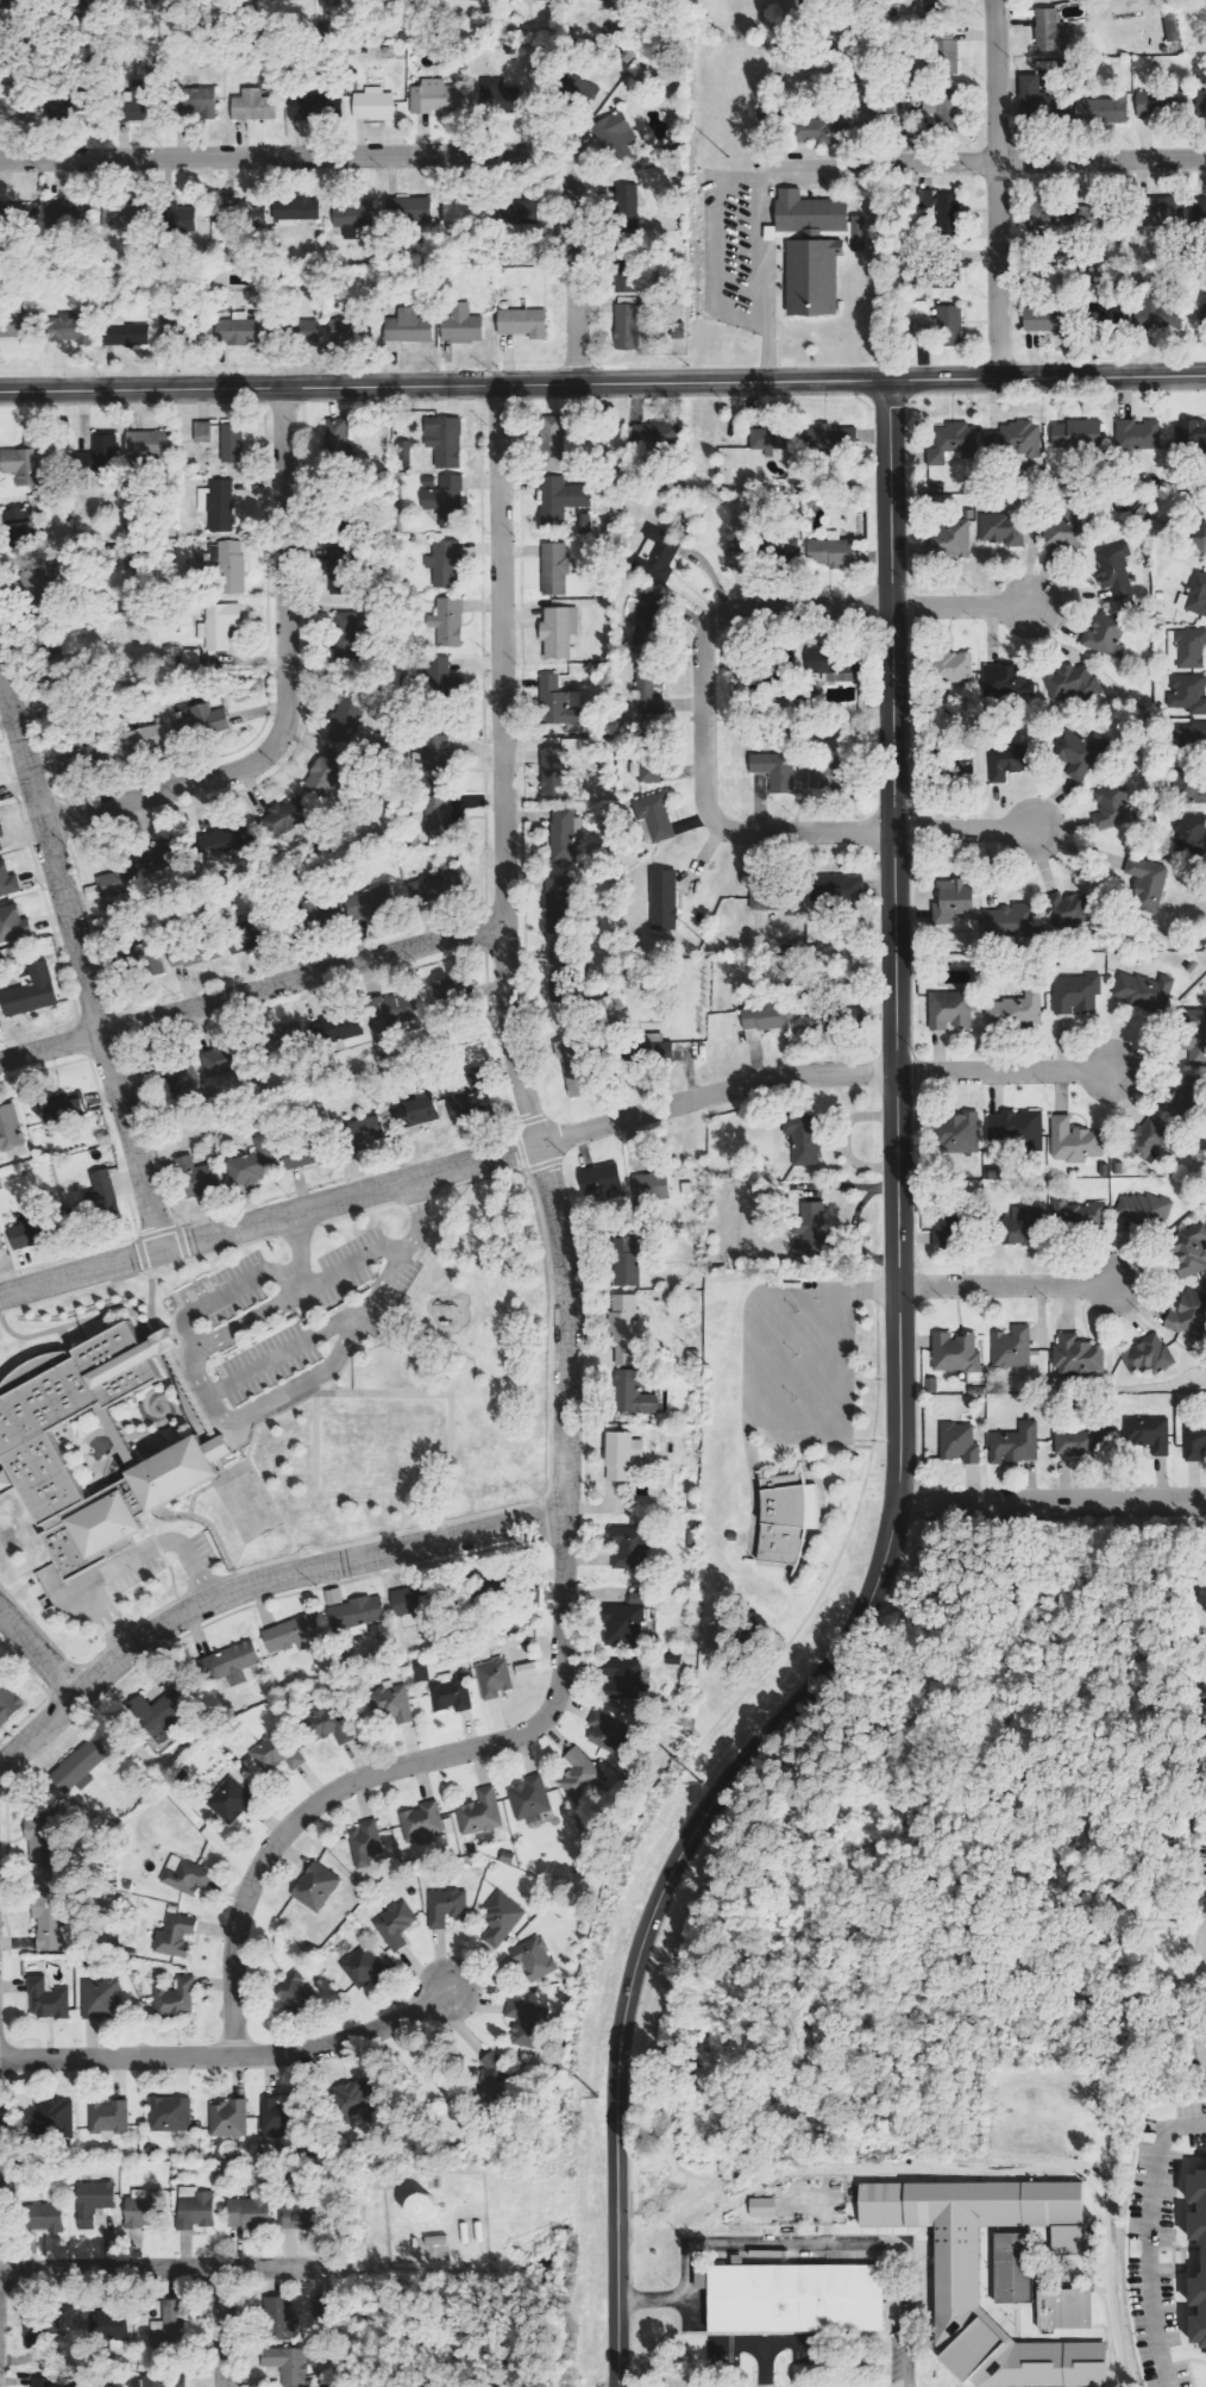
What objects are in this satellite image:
building: (291, 0)
building: (473, 0)
building: (539, 0)
building: (614, 0)
building: (21, 1)
building: (928, 5)
building: (1049, 30)
building: (947, 50)
building: (140, 88)
building: (580, 89)
building: (436, 96)
building: (501, 96)
building: (1039, 98)
building: (195, 102)
building: (1201, 104)
building: (8, 105)
building: (316, 105)
building: (375, 105)
building: (255, 106)
building: (938, 109)
building: (1103, 111)
building: (822, 131)
building: (616, 136)
road: (390, 155)
road: (1051, 159)
road: (997, 187)
building: (630, 203)
building: (410, 209)
building: (296, 211)
building: (466, 211)
building: (942, 211)
building: (1164, 212)
building: (521, 213)
building: (810, 213)
building: (1200, 213)
building: (61, 214)
building: (120, 215)
building: (354, 217)
building: (180, 219)
building: (859, 233)
building: (812, 236)
building: (814, 277)
building: (628, 305)
building: (1158, 315)
building: (1044, 320)
building: (523, 322)
building: (463, 325)
building: (942, 326)
building: (409, 327)
building: (239, 330)
building: (71, 331)
building: (303, 331)
building: (345, 331)
building: (118, 333)
road: (1044, 374)
road: (442, 383)
building: (1188, 431)
building: (1075, 433)
building: (1133, 434)
building: (654, 437)
building: (835, 437)
building: (338, 439)
building: (768, 439)
building: (1011, 439)
building: (445, 440)
building: (949, 441)
building: (554, 443)
building: (149, 444)
building: (233, 444)
building: (404, 451)
building: (99, 458)
building: (26, 464)
building: (561, 499)
building: (447, 501)
building: (218, 505)
building: (966, 513)
building: (20, 526)
building: (999, 528)
building: (1062, 533)
building: (1198, 537)
building: (946, 538)
building: (659, 552)
building: (785, 552)
building: (831, 553)
building: (737, 556)
building: (445, 564)
building: (232, 566)
building: (555, 569)
building: (1112, 569)
building: (340, 570)
building: (1195, 594)
road: (957, 606)
building: (450, 622)
building: (220, 625)
building: (559, 632)
building: (1103, 633)
building: (348, 638)
building: (1188, 646)
building: (183, 658)
building: (947, 665)
building: (841, 670)
building: (444, 676)
building: (1003, 681)
building: (1069, 681)
road: (288, 688)
building: (648, 690)
building: (1186, 693)
building: (558, 702)
building: (346, 719)
building: (206, 720)
road: (702, 722)
building: (1186, 733)
building: (1074, 751)
building: (93, 754)
building: (1005, 759)
building: (438, 762)
building: (962, 764)
building: (648, 770)
building: (777, 771)
building: (327, 772)
building: (557, 772)
building: (824, 776)
building: (1188, 782)
building: (1108, 808)
building: (442, 815)
building: (291, 817)
building: (655, 819)
building: (1, 826)
road: (961, 831)
building: (1188, 834)
building: (564, 835)
building: (227, 840)
building: (165, 857)
building: (8, 879)
building: (117, 883)
building: (1144, 883)
building: (432, 884)
building: (838, 889)
building: (665, 900)
building: (949, 900)
building: (369, 901)
building: (775, 901)
building: (559, 906)
building: (1062, 908)
building: (322, 909)
building: (1007, 919)
building: (13, 923)
building: (245, 935)
road: (892, 941)
building: (195, 952)
building: (153, 958)
road: (80, 959)
building: (1187, 965)
road: (251, 990)
building: (1141, 990)
building: (32, 991)
building: (1073, 992)
building: (948, 1008)
building: (1012, 1009)
building: (397, 1013)
building: (771, 1015)
building: (340, 1027)
building: (1193, 1034)
building: (658, 1046)
building: (220, 1060)
building: (574, 1067)
road: (1003, 1071)
building: (1185, 1098)
building: (470, 1105)
building: (61, 1108)
building: (415, 1111)
building: (10, 1128)
building: (1012, 1128)
building: (951, 1133)
building: (366, 1134)
building: (804, 1139)
building: (1145, 1139)
building: (1069, 1140)
building: (303, 1152)
building: (255, 1164)
building: (1114, 1166)
road: (444, 1171)
building: (197, 1176)
building: (603, 1182)
building: (652, 1185)
building: (689, 1188)
building: (99, 1193)
building: (1141, 1209)
building: (1073, 1211)
building: (944, 1226)
building: (1016, 1226)
building: (811, 1230)
building: (27, 1233)
building: (1, 1242)
building: (1186, 1249)
building: (627, 1261)
road: (1006, 1285)
road: (565, 1312)
building: (1187, 1312)
building: (624, 1329)
building: (1009, 1347)
building: (953, 1352)
building: (1074, 1355)
building: (1144, 1355)
building: (928, 1385)
building: (973, 1389)
building: (634, 1393)
building: (1144, 1433)
building: (1080, 1440)
building: (1193, 1441)
building: (955, 1442)
building: (1011, 1443)
building: (29, 1447)
building: (623, 1455)
road: (1051, 1501)
building: (786, 1517)
building: (630, 1547)
road: (255, 1583)
building: (1202, 1598)
building: (407, 1602)
building: (354, 1610)
building: (628, 1621)
building: (293, 1635)
road: (39, 1652)
building: (233, 1662)
building: (527, 1669)
building: (495, 1678)
building: (627, 1681)
building: (452, 1694)
building: (394, 1700)
building: (8, 1702)
building: (159, 1715)
building: (331, 1722)
building: (607, 1731)
building: (1205, 1738)
building: (276, 1753)
building: (80, 1767)
building: (583, 1778)
building: (530, 1798)
building: (232, 1802)
building: (482, 1812)
building: (420, 1823)
building: (43, 1838)
building: (366, 1842)
building: (187, 1875)
building: (318, 1886)
building: (447, 1907)
road: (651, 1910)
building: (502, 1918)
building: (49, 1921)
building: (396, 1924)
road: (1199, 1931)
building: (176, 1935)
building: (535, 1957)
building: (364, 1968)
building: (296, 1990)
building: (101, 1998)
building: (177, 1998)
building: (49, 2000)
building: (529, 2017)
road: (228, 2056)
road: (1194, 2057)
building: (495, 2075)
building: (354, 2100)
building: (170, 2115)
building: (54, 2117)
building: (109, 2118)
building: (228, 2118)
building: (275, 2118)
parking lot: (1191, 2122)
building: (95, 2205)
building: (764, 2207)
building: (147, 2209)
building: (195, 2209)
building: (422, 2210)
building: (250, 2212)
building: (45, 2217)
building: (299, 2217)
road: (1147, 2238)
road: (753, 2245)
building: (429, 2249)
building: (1202, 2256)
building: (1010, 2267)
parking lot: (1151, 2267)
road: (162, 2269)
building: (953, 2281)
parking lot: (912, 2295)
building: (792, 2298)
road: (651, 2299)
building: (322, 2307)
building: (1062, 2308)
road: (903, 2316)
building: (281, 2319)
road: (221, 2328)
building: (111, 2329)
building: (42, 2331)
building: (163, 2338)
road: (765, 2343)
parking lot: (766, 2348)
building: (289, 2364)
road: (761, 2364)
building: (161, 2381)
building: (45, 2382)

